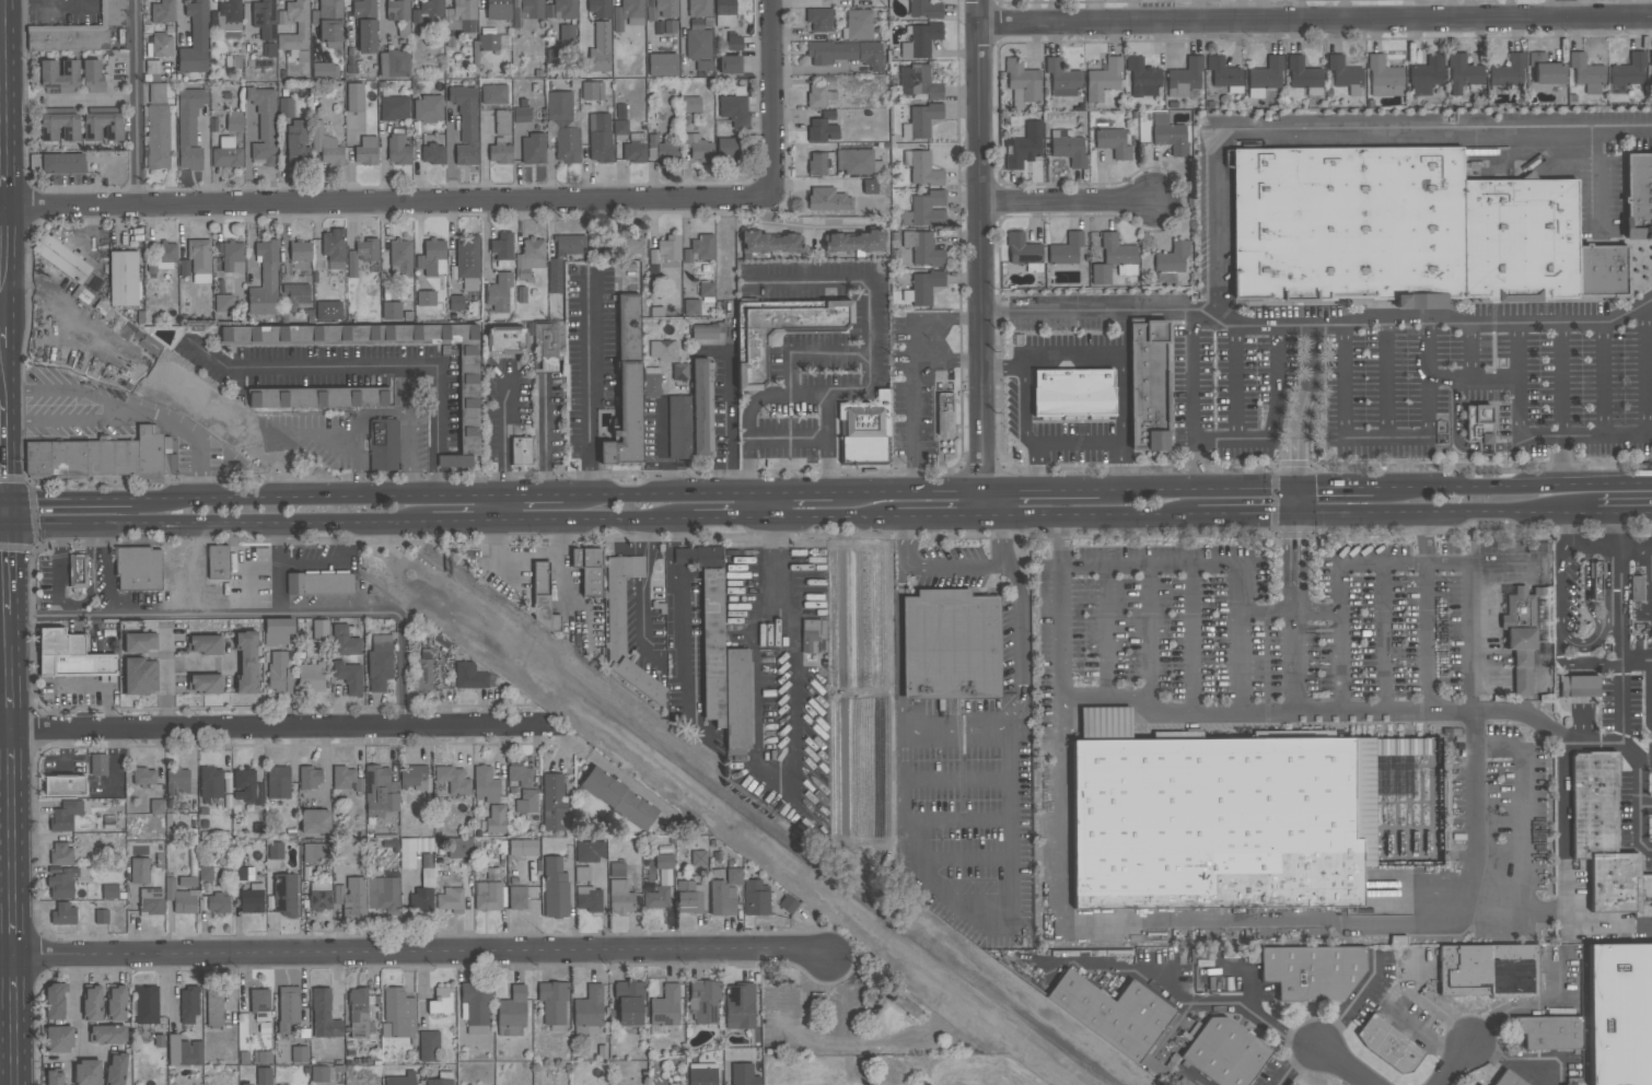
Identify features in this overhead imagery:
road: (1572, 8)
road: (73, 9)
building: (565, 9)
building: (600, 9)
building: (699, 9)
building: (924, 9)
building: (397, 10)
building: (498, 10)
building: (662, 10)
building: (428, 11)
building: (163, 12)
building: (627, 12)
building: (526, 13)
building: (724, 13)
building: (229, 16)
building: (462, 16)
road: (1314, 19)
building: (263, 21)
building: (330, 21)
building: (819, 21)
building: (858, 25)
building: (365, 26)
building: (302, 28)
building: (78, 32)
road: (805, 37)
building: (195, 39)
building: (920, 40)
building: (491, 43)
building: (734, 44)
building: (162, 45)
building: (699, 48)
building: (268, 50)
building: (846, 54)
building: (1650, 59)
building: (394, 63)
building: (662, 65)
building: (729, 65)
building: (325, 70)
building: (1545, 70)
building: (1629, 71)
building: (1509, 72)
building: (1463, 73)
building: (1586, 73)
building: (1224, 74)
building: (1343, 74)
building: (1061, 75)
building: (1266, 75)
building: (1426, 75)
building: (58, 77)
building: (92, 77)
building: (1303, 77)
building: (1142, 78)
building: (1185, 78)
building: (1103, 80)
building: (1022, 82)
building: (829, 83)
building: (918, 83)
building: (592, 91)
building: (156, 93)
building: (493, 94)
road: (771, 94)
building: (818, 96)
building: (356, 97)
road: (92, 100)
road: (137, 102)
road: (3, 104)
building: (691, 104)
building: (286, 107)
building: (735, 107)
building: (394, 108)
building: (428, 109)
building: (522, 115)
building: (921, 121)
building: (234, 122)
building: (264, 126)
building: (462, 126)
building: (103, 127)
building: (562, 127)
building: (59, 128)
building: (189, 128)
building: (823, 128)
road: (1342, 133)
building: (158, 137)
building: (1171, 137)
building: (600, 138)
building: (295, 140)
building: (1113, 143)
building: (325, 147)
building: (1025, 147)
building: (698, 148)
building: (726, 148)
building: (635, 149)
building: (398, 150)
building: (533, 150)
building: (660, 150)
building: (365, 152)
building: (500, 152)
building: (226, 154)
building: (432, 154)
road: (248, 156)
building: (854, 162)
building: (62, 163)
building: (818, 164)
building: (923, 170)
road: (2, 183)
road: (1598, 183)
building: (870, 187)
building: (1638, 196)
building: (827, 199)
road: (387, 200)
road: (1067, 205)
building: (927, 210)
road: (799, 229)
building: (1406, 230)
road: (251, 242)
building: (854, 242)
building: (771, 243)
building: (570, 245)
building: (633, 245)
building: (334, 246)
building: (502, 247)
building: (702, 247)
building: (922, 248)
building: (1066, 249)
building: (300, 250)
building: (666, 250)
building: (1022, 250)
building: (362, 255)
building: (231, 256)
building: (161, 257)
building: (400, 257)
road: (979, 257)
building: (432, 258)
building: (530, 258)
building: (1172, 258)
building: (62, 259)
building: (1114, 260)
road: (5, 261)
building: (197, 261)
building: (468, 262)
building: (555, 276)
road: (850, 277)
building: (123, 279)
building: (265, 281)
building: (924, 287)
building: (706, 290)
building: (499, 293)
building: (295, 295)
building: (426, 299)
building: (223, 303)
building: (691, 307)
building: (328, 310)
building: (392, 311)
road: (1090, 313)
road: (2, 314)
road: (965, 319)
road: (1436, 322)
road: (915, 325)
road: (5, 329)
building: (707, 335)
building: (779, 336)
building: (507, 345)
building: (663, 351)
road: (835, 351)
road: (1094, 364)
road: (377, 367)
road: (4, 369)
building: (679, 372)
road: (1503, 381)
building: (651, 383)
road: (590, 386)
building: (1148, 386)
building: (628, 388)
road: (808, 390)
road: (915, 392)
road: (73, 393)
building: (1074, 395)
road: (1194, 396)
building: (317, 398)
building: (469, 400)
building: (701, 407)
road: (1024, 407)
road: (367, 415)
building: (944, 416)
road: (733, 420)
road: (71, 422)
building: (1479, 424)
building: (678, 428)
building: (863, 432)
road: (545, 434)
road: (316, 436)
road: (788, 437)
road: (191, 439)
road: (2, 442)
building: (384, 444)
road: (1055, 445)
road: (3, 447)
road: (441, 450)
building: (521, 453)
building: (103, 456)
road: (444, 463)
road: (1561, 463)
road: (432, 464)
road: (1124, 468)
road: (444, 477)
road: (409, 479)
road: (1473, 488)
road: (439, 489)
road: (1054, 491)
road: (1210, 491)
traffic signals: (1295, 491)
road: (791, 492)
road: (907, 492)
road: (655, 493)
road: (536, 494)
road: (321, 497)
road: (67, 499)
road: (1, 500)
traffic signals: (3, 500)
road: (758, 505)
road: (511, 509)
road: (1094, 512)
road: (1246, 512)
traffic signals: (1295, 512)
road: (1431, 512)
road: (3, 513)
road: (1609, 513)
road: (944, 514)
road: (830, 516)
road: (729, 518)
road: (1295, 518)
road: (602, 520)
road: (470, 522)
road: (217, 525)
road: (1, 526)
traffic signals: (3, 527)
road: (1423, 537)
road: (637, 538)
road: (3, 547)
road: (649, 549)
road: (776, 549)
road: (1574, 551)
building: (697, 556)
road: (526, 559)
road: (1636, 561)
building: (218, 562)
road: (2, 567)
building: (139, 569)
road: (638, 569)
road: (955, 569)
building: (589, 570)
building: (78, 571)
road: (560, 580)
building: (1597, 581)
building: (319, 584)
road: (1620, 586)
building: (1636, 588)
road: (4, 593)
road: (642, 593)
building: (543, 596)
road: (642, 616)
road: (256, 617)
building: (615, 618)
road: (2, 619)
road: (676, 622)
road: (1615, 630)
building: (277, 631)
building: (319, 631)
building: (810, 637)
building: (1520, 639)
building: (345, 642)
building: (139, 643)
building: (205, 645)
road: (1582, 645)
building: (952, 649)
road: (4, 650)
building: (70, 656)
building: (246, 663)
building: (380, 663)
building: (723, 669)
building: (279, 672)
building: (139, 676)
building: (312, 676)
building: (421, 676)
building: (469, 676)
building: (349, 677)
road: (105, 684)
building: (205, 684)
road: (1622, 687)
building: (1581, 689)
road: (1650, 693)
road: (7, 707)
road: (1261, 716)
road: (272, 730)
road: (957, 731)
road: (1562, 739)
road: (8, 756)
building: (98, 765)
building: (520, 774)
building: (412, 775)
building: (143, 777)
building: (310, 779)
building: (346, 779)
building: (177, 780)
building: (453, 780)
road: (783, 781)
building: (278, 782)
building: (211, 783)
building: (65, 785)
building: (485, 785)
building: (247, 787)
building: (620, 800)
building: (526, 802)
building: (554, 802)
building: (380, 803)
building: (156, 807)
road: (1640, 813)
building: (65, 816)
building: (496, 819)
building: (1246, 819)
building: (315, 821)
road: (10, 836)
building: (1606, 842)
building: (190, 845)
building: (523, 848)
building: (459, 849)
building: (275, 851)
building: (590, 851)
building: (314, 852)
building: (416, 853)
building: (61, 854)
building: (699, 860)
building: (665, 863)
building: (616, 870)
building: (140, 871)
road: (1564, 872)
building: (209, 874)
building: (243, 874)
building: (734, 877)
building: (185, 883)
building: (61, 884)
building: (555, 889)
building: (109, 891)
building: (286, 895)
building: (384, 895)
building: (319, 896)
building: (488, 896)
building: (351, 898)
building: (517, 898)
building: (620, 898)
building: (658, 898)
building: (181, 899)
building: (589, 899)
building: (688, 899)
building: (722, 899)
building: (756, 899)
road: (1471, 899)
building: (252, 900)
building: (422, 900)
building: (450, 900)
building: (151, 902)
building: (218, 903)
building: (789, 905)
building: (63, 914)
road: (1519, 915)
building: (102, 917)
road: (979, 920)
road: (11, 925)
road: (414, 953)
road: (1143, 971)
building: (1488, 971)
building: (1312, 973)
road: (12, 980)
building: (782, 997)
building: (55, 1001)
building: (440, 1002)
building: (552, 1002)
building: (629, 1003)
road: (77, 1004)
building: (92, 1004)
building: (116, 1004)
building: (705, 1004)
building: (147, 1005)
building: (188, 1005)
building: (260, 1005)
building: (475, 1006)
building: (741, 1006)
building: (213, 1007)
building: (288, 1007)
building: (903, 1007)
building: (666, 1008)
building: (589, 1012)
road: (1500, 1012)
building: (358, 1013)
building: (512, 1013)
building: (398, 1014)
building: (1620, 1014)
building: (324, 1015)
building: (1114, 1015)
building: (806, 1018)
road: (1265, 1022)
building: (891, 1023)
building: (1549, 1032)
building: (106, 1035)
building: (59, 1040)
road: (844, 1042)
road: (13, 1043)
building: (1388, 1045)
building: (429, 1047)
building: (184, 1052)
building: (1224, 1052)
building: (300, 1054)
road: (1294, 1063)
road: (1455, 1065)
road: (1341, 1066)
building: (115, 1070)
building: (86, 1073)
building: (319, 1074)
building: (702, 1074)
building: (743, 1074)
building: (263, 1076)
building: (55, 1077)
building: (402, 1080)
building: (1508, 1080)
building: (439, 1082)
building: (246, 1084)
building: (1290, 1084)

